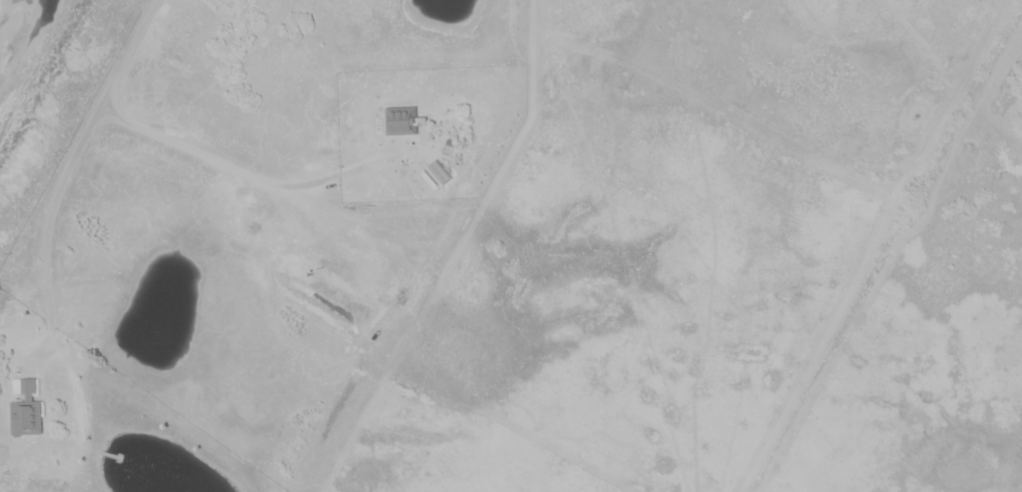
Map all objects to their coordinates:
building: (403, 120)
road: (203, 153)
building: (442, 171)
road: (52, 223)
building: (27, 388)
building: (28, 419)

